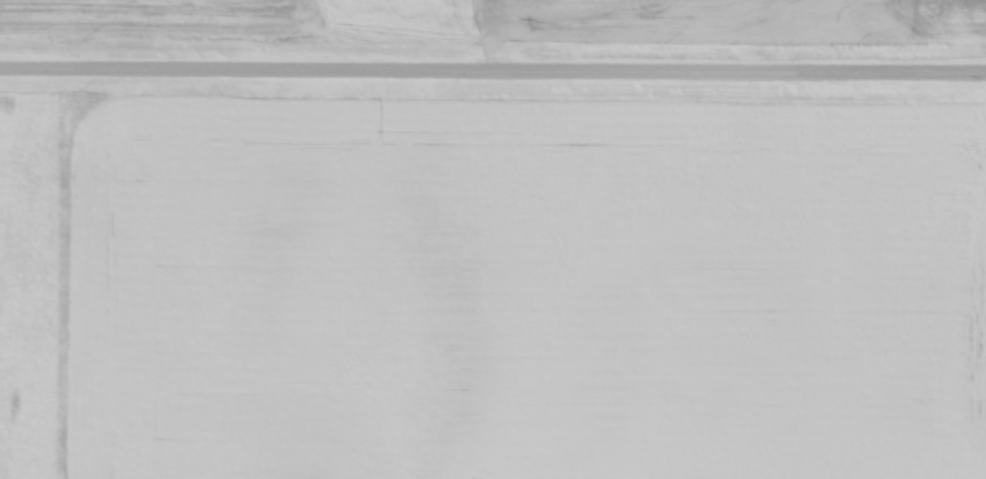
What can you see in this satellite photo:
road: (493, 72)

